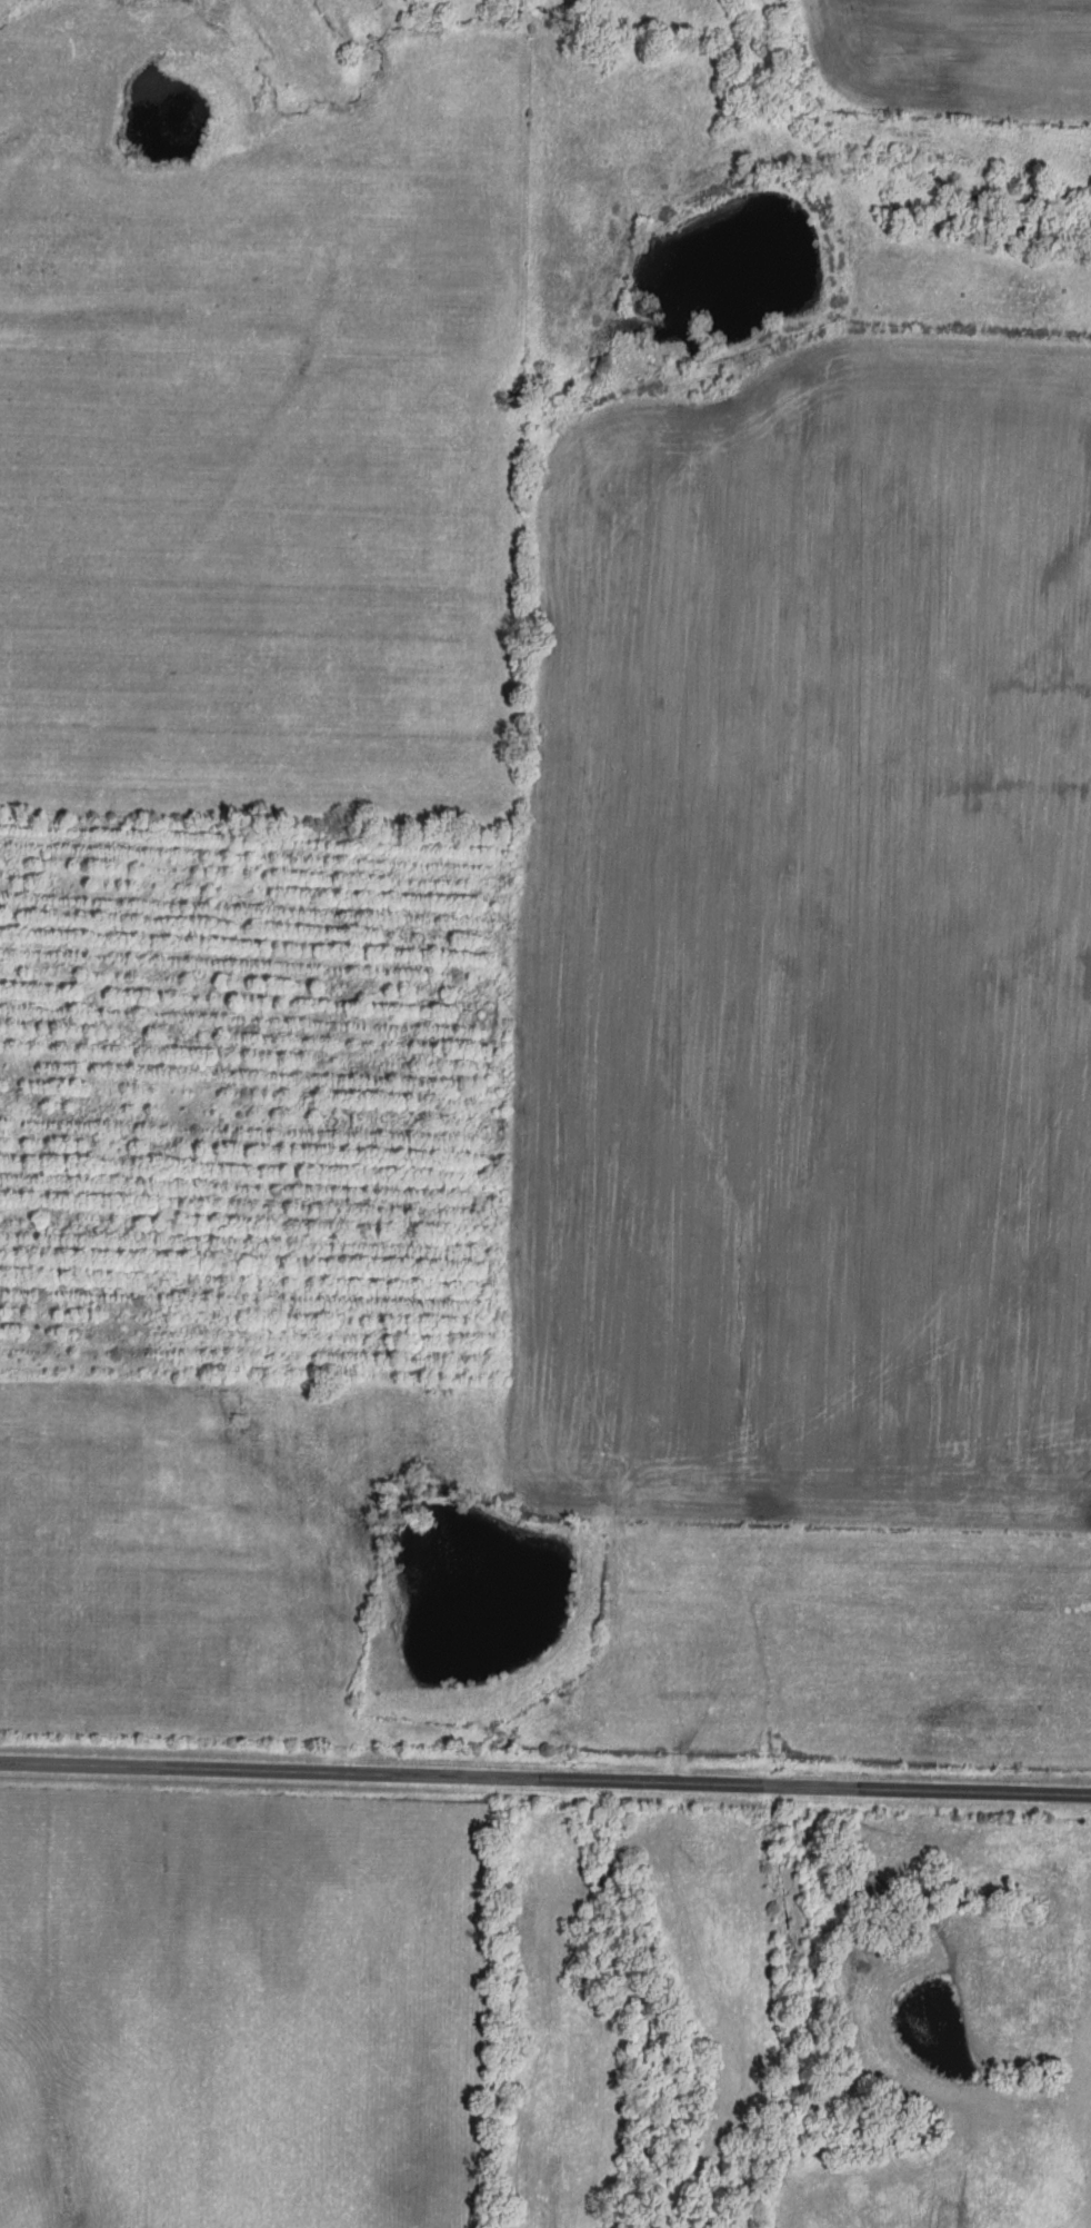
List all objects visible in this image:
road: (544, 1783)

